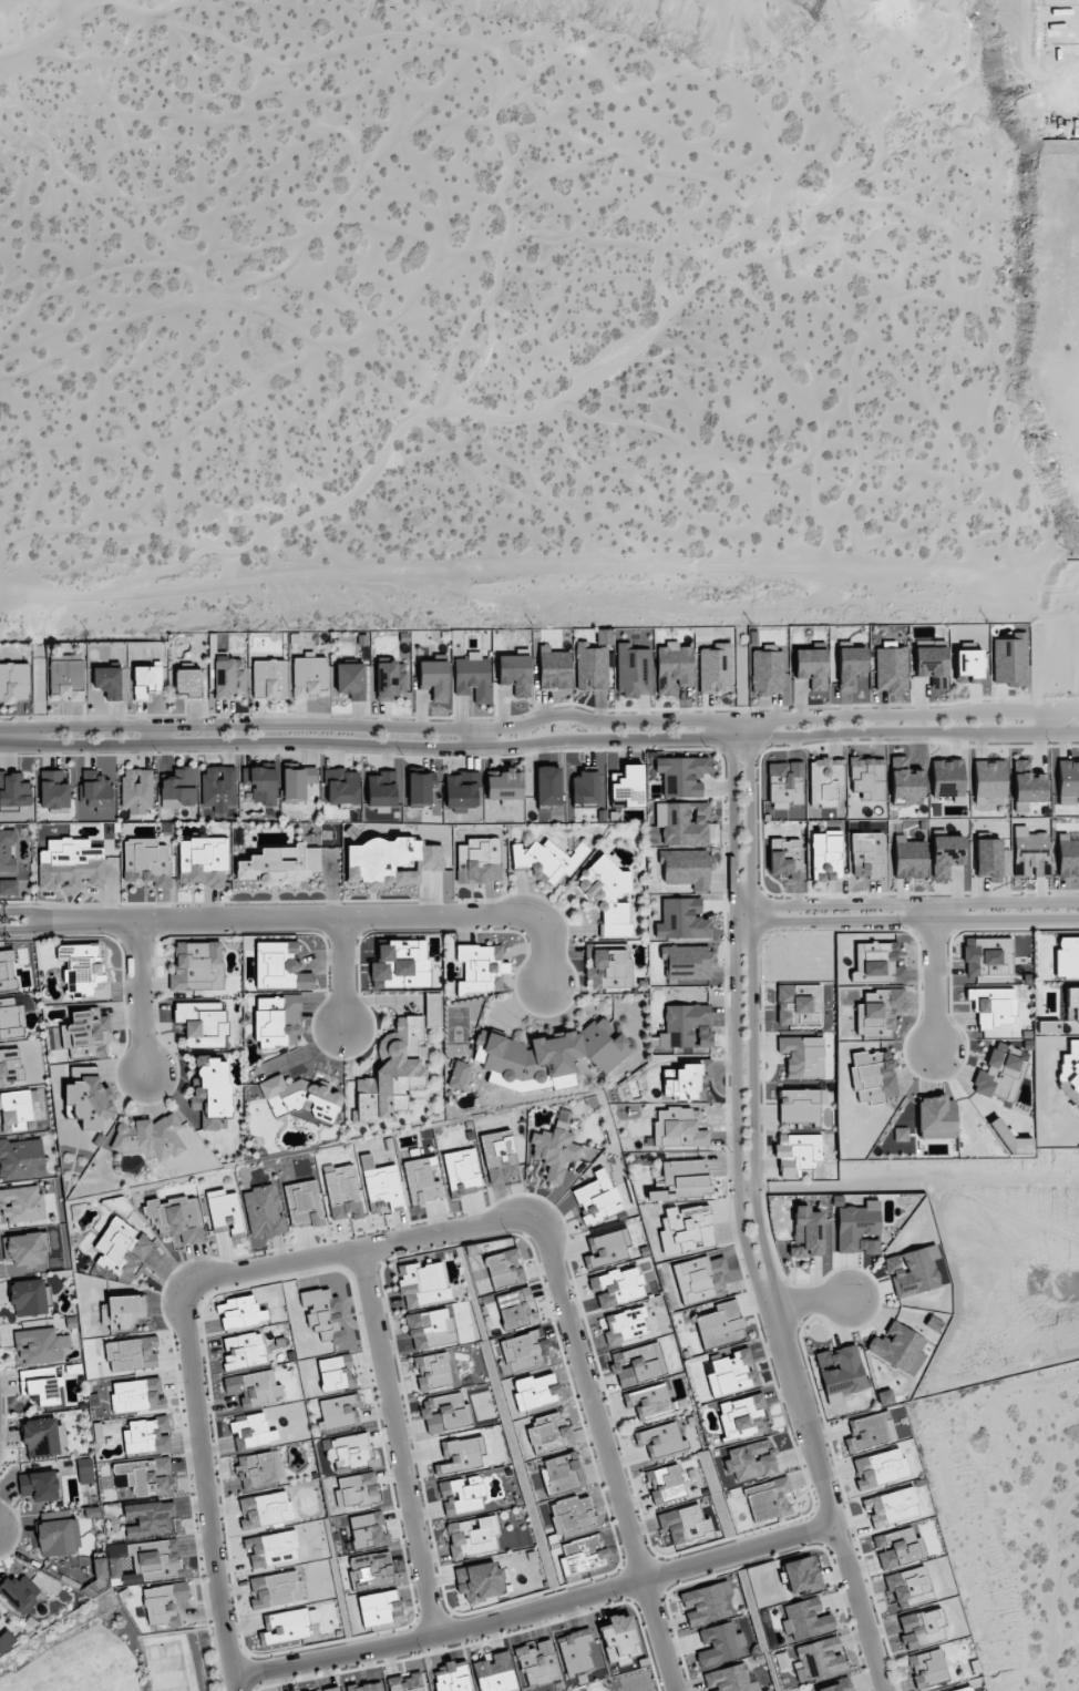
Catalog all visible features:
building: (1010, 660)
building: (932, 664)
building: (851, 666)
building: (968, 666)
building: (590, 667)
building: (672, 667)
building: (811, 667)
building: (891, 667)
building: (554, 668)
building: (716, 669)
building: (633, 670)
building: (765, 673)
building: (514, 674)
building: (66, 677)
building: (227, 677)
building: (473, 677)
building: (268, 678)
building: (434, 679)
building: (147, 680)
building: (350, 680)
building: (390, 680)
building: (13, 681)
building: (107, 681)
building: (187, 683)
road: (1055, 729)
road: (10, 734)
road: (4, 735)
road: (153, 735)
road: (481, 738)
building: (682, 776)
building: (867, 777)
building: (946, 778)
building: (989, 778)
building: (905, 779)
building: (825, 781)
building: (1068, 781)
building: (785, 782)
building: (261, 783)
building: (298, 783)
building: (504, 786)
building: (547, 786)
building: (1026, 786)
building: (342, 787)
building: (626, 787)
building: (218, 788)
building: (584, 788)
building: (53, 789)
building: (178, 789)
building: (381, 789)
building: (420, 789)
building: (13, 790)
building: (95, 790)
building: (136, 790)
building: (461, 791)
building: (682, 822)
building: (7, 850)
building: (1030, 852)
building: (866, 854)
building: (946, 854)
building: (826, 855)
building: (1068, 855)
building: (785, 858)
building: (910, 858)
building: (988, 858)
building: (547, 859)
building: (390, 860)
building: (479, 860)
building: (203, 861)
building: (146, 862)
building: (70, 863)
building: (279, 865)
building: (686, 868)
building: (8, 888)
building: (607, 894)
road: (913, 903)
road: (24, 911)
road: (741, 914)
road: (330, 916)
building: (682, 919)
road: (914, 920)
road: (24, 930)
building: (988, 956)
building: (1067, 957)
building: (687, 962)
building: (876, 963)
building: (276, 964)
building: (400, 965)
building: (608, 965)
building: (197, 966)
building: (480, 967)
building: (7, 970)
building: (82, 970)
road: (341, 971)
road: (933, 975)
building: (304, 981)
road: (140, 995)
building: (1072, 1003)
building: (799, 1004)
building: (993, 1006)
building: (432, 1010)
building: (877, 1012)
road: (750, 1016)
road: (733, 1017)
building: (10, 1018)
building: (277, 1021)
building: (202, 1023)
building: (686, 1026)
building: (84, 1033)
building: (547, 1054)
building: (802, 1056)
building: (10, 1066)
building: (392, 1073)
building: (456, 1075)
building: (872, 1076)
building: (680, 1082)
building: (212, 1094)
building: (300, 1096)
building: (88, 1097)
building: (799, 1105)
building: (16, 1109)
building: (935, 1117)
building: (679, 1127)
building: (901, 1134)
building: (148, 1138)
building: (555, 1147)
building: (797, 1154)
building: (499, 1156)
building: (21, 1159)
building: (462, 1172)
building: (682, 1179)
building: (421, 1181)
building: (382, 1187)
road: (744, 1191)
building: (342, 1193)
building: (597, 1198)
building: (22, 1203)
building: (302, 1203)
building: (224, 1211)
building: (263, 1212)
building: (176, 1218)
building: (686, 1229)
building: (857, 1229)
building: (805, 1232)
building: (122, 1248)
road: (358, 1248)
building: (607, 1248)
building: (504, 1268)
building: (913, 1271)
building: (700, 1278)
building: (422, 1283)
building: (617, 1287)
building: (29, 1297)
road: (809, 1301)
building: (514, 1308)
building: (120, 1311)
building: (239, 1312)
building: (322, 1314)
building: (624, 1325)
building: (720, 1325)
building: (430, 1329)
building: (39, 1346)
building: (898, 1347)
building: (243, 1351)
building: (523, 1351)
building: (132, 1353)
building: (637, 1364)
building: (432, 1371)
building: (336, 1372)
building: (841, 1372)
building: (731, 1373)
building: (40, 1385)
building: (254, 1388)
building: (535, 1391)
building: (137, 1395)
building: (885, 1397)
building: (648, 1402)
building: (338, 1412)
building: (444, 1412)
building: (740, 1416)
building: (253, 1432)
building: (867, 1432)
building: (548, 1433)
building: (147, 1436)
building: (40, 1437)
building: (660, 1439)
road: (397, 1442)
building: (346, 1451)
road: (605, 1451)
building: (461, 1453)
building: (750, 1461)
building: (880, 1468)
building: (256, 1469)
building: (84, 1470)
building: (562, 1473)
building: (145, 1476)
building: (666, 1484)
building: (39, 1486)
road: (204, 1487)
building: (356, 1490)
building: (461, 1496)
building: (768, 1498)
road: (826, 1499)
building: (891, 1507)
building: (265, 1509)
building: (569, 1514)
building: (150, 1518)
building: (684, 1523)
building: (367, 1529)
building: (58, 1537)
building: (472, 1537)
building: (897, 1548)
building: (271, 1549)
building: (583, 1554)
building: (154, 1558)
building: (114, 1566)
building: (99, 1568)
building: (370, 1570)
building: (801, 1575)
building: (479, 1580)
building: (910, 1586)
building: (275, 1589)
building: (19, 1593)
building: (157, 1603)
building: (706, 1603)
building: (378, 1607)
road: (535, 1610)
building: (805, 1619)
building: (285, 1626)
building: (922, 1627)
building: (619, 1639)
building: (6, 1641)
building: (720, 1644)
building: (574, 1651)
park: (109, 1654)
building: (819, 1659)
building: (537, 1662)
building: (927, 1668)
building: (495, 1673)
building: (451, 1677)
building: (729, 1679)
building: (405, 1682)
building: (836, 1685)
building: (366, 1687)
building: (329, 1689)
building: (964, 1689)

